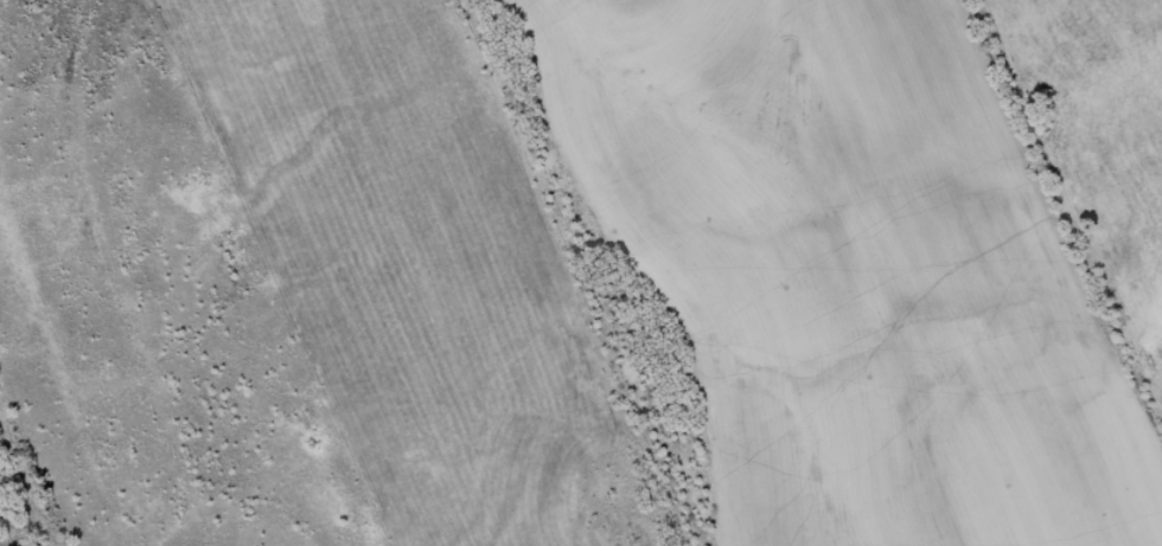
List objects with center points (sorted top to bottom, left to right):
road: (536, 121)
road: (1099, 126)

